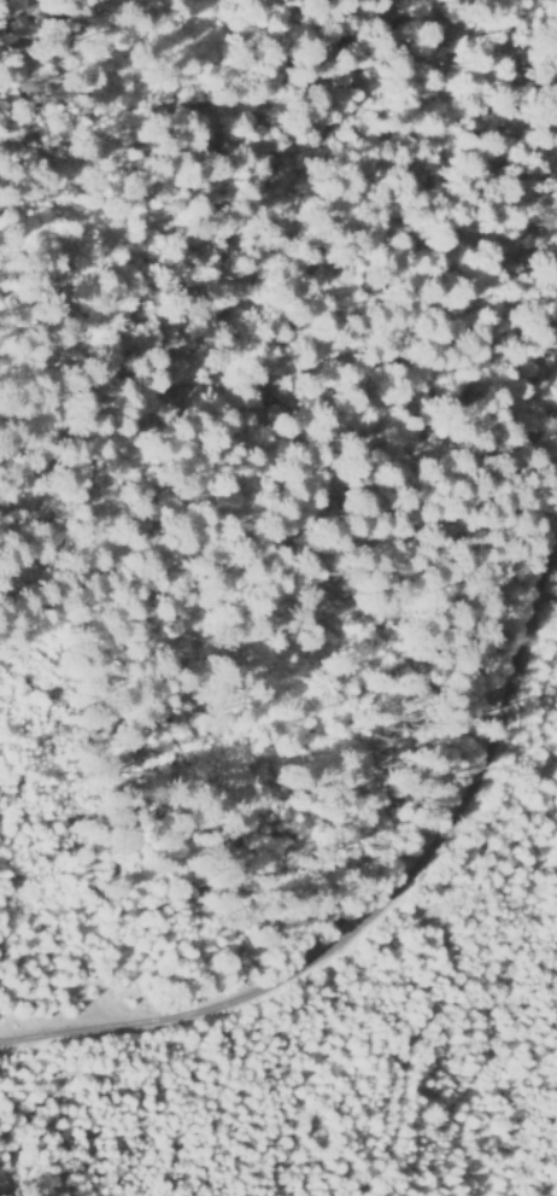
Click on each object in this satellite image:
road: (371, 916)

